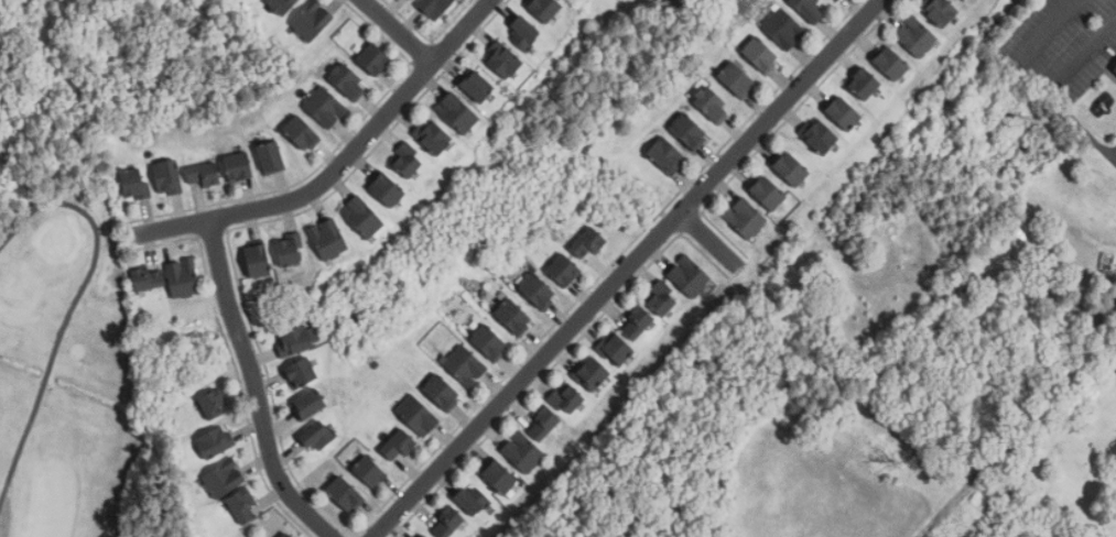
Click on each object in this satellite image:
building: (282, 6)
building: (436, 7)
building: (546, 9)
building: (810, 10)
building: (941, 11)
building: (312, 20)
road: (399, 29)
building: (784, 29)
road: (1047, 29)
building: (524, 32)
building: (915, 36)
road: (1087, 51)
building: (761, 55)
building: (376, 58)
building: (506, 61)
building: (892, 63)
building: (1114, 68)
building: (739, 79)
building: (349, 81)
building: (866, 83)
building: (479, 87)
building: (714, 105)
building: (326, 107)
building: (458, 112)
building: (845, 113)
road: (1080, 125)
building: (690, 131)
building: (304, 132)
building: (821, 135)
building: (434, 136)
building: (667, 155)
building: (272, 157)
building: (408, 160)
building: (240, 166)
road: (337, 166)
building: (792, 168)
building: (205, 175)
building: (169, 177)
building: (134, 183)
building: (389, 190)
building: (769, 193)
building: (364, 217)
building: (745, 218)
building: (328, 239)
road: (706, 239)
building: (589, 244)
building: (290, 252)
building: (259, 262)
road: (626, 267)
building: (566, 270)
building: (689, 276)
building: (183, 278)
building: (149, 280)
building: (540, 292)
building: (662, 298)
road: (72, 308)
building: (514, 317)
building: (638, 324)
park: (69, 341)
building: (294, 341)
building: (490, 342)
building: (617, 348)
building: (466, 366)
building: (301, 373)
building: (593, 373)
road: (254, 386)
building: (443, 392)
building: (568, 398)
building: (214, 404)
building: (310, 404)
building: (419, 415)
building: (544, 424)
building: (315, 435)
building: (214, 443)
building: (400, 445)
building: (1113, 450)
building: (522, 452)
building: (370, 471)
building: (500, 476)
building: (224, 479)
building: (346, 493)
building: (470, 500)
building: (243, 505)
building: (448, 523)
building: (288, 535)
building: (424, 536)

